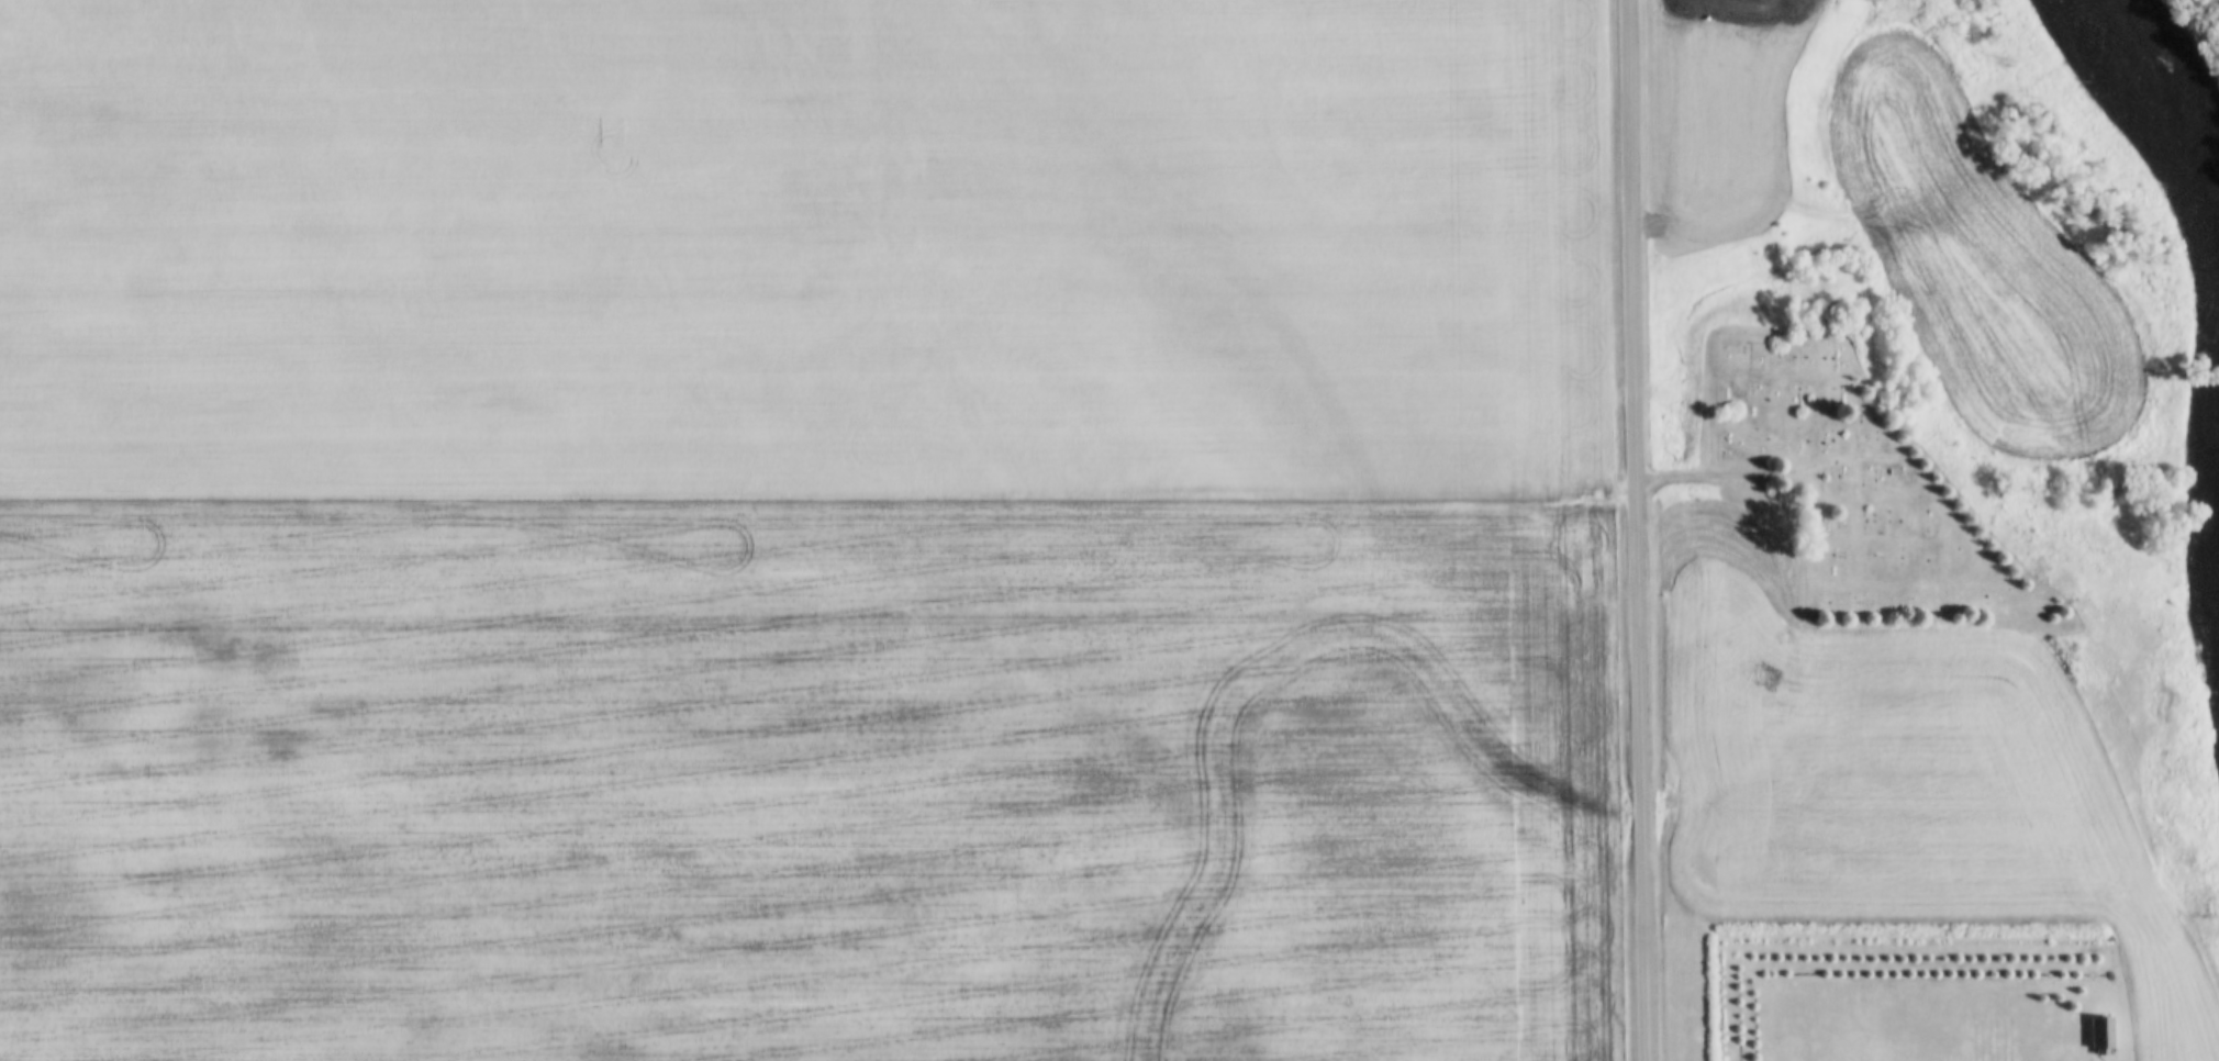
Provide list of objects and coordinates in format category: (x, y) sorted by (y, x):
river: (2133, 116)
road: (1636, 530)
building: (2098, 1032)

